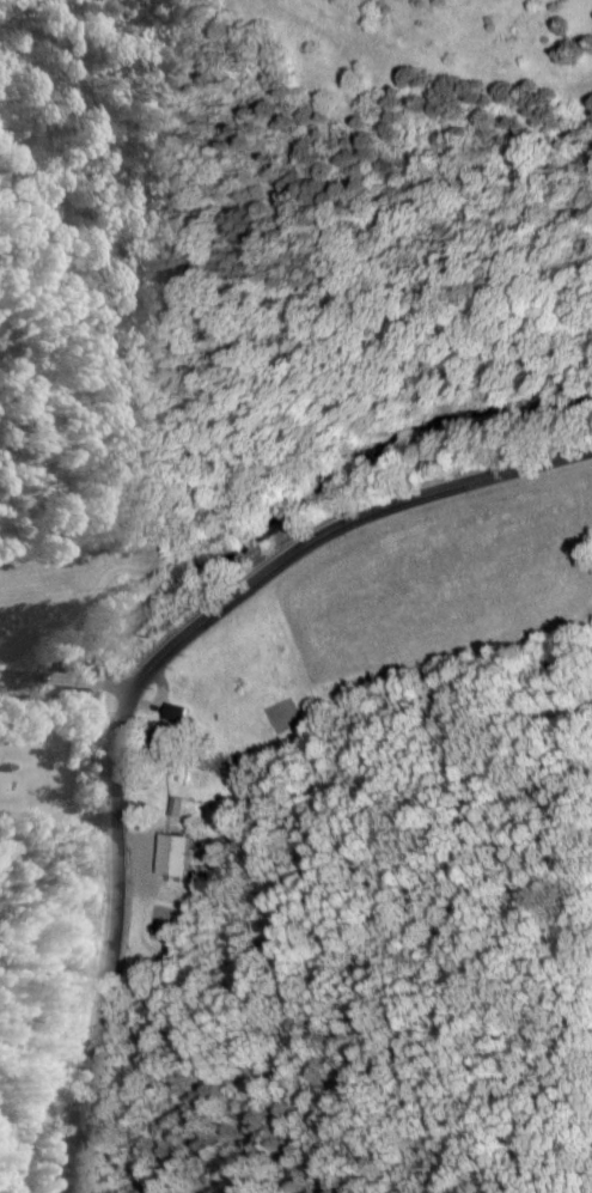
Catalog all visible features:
road: (124, 658)
road: (80, 700)
building: (171, 856)

